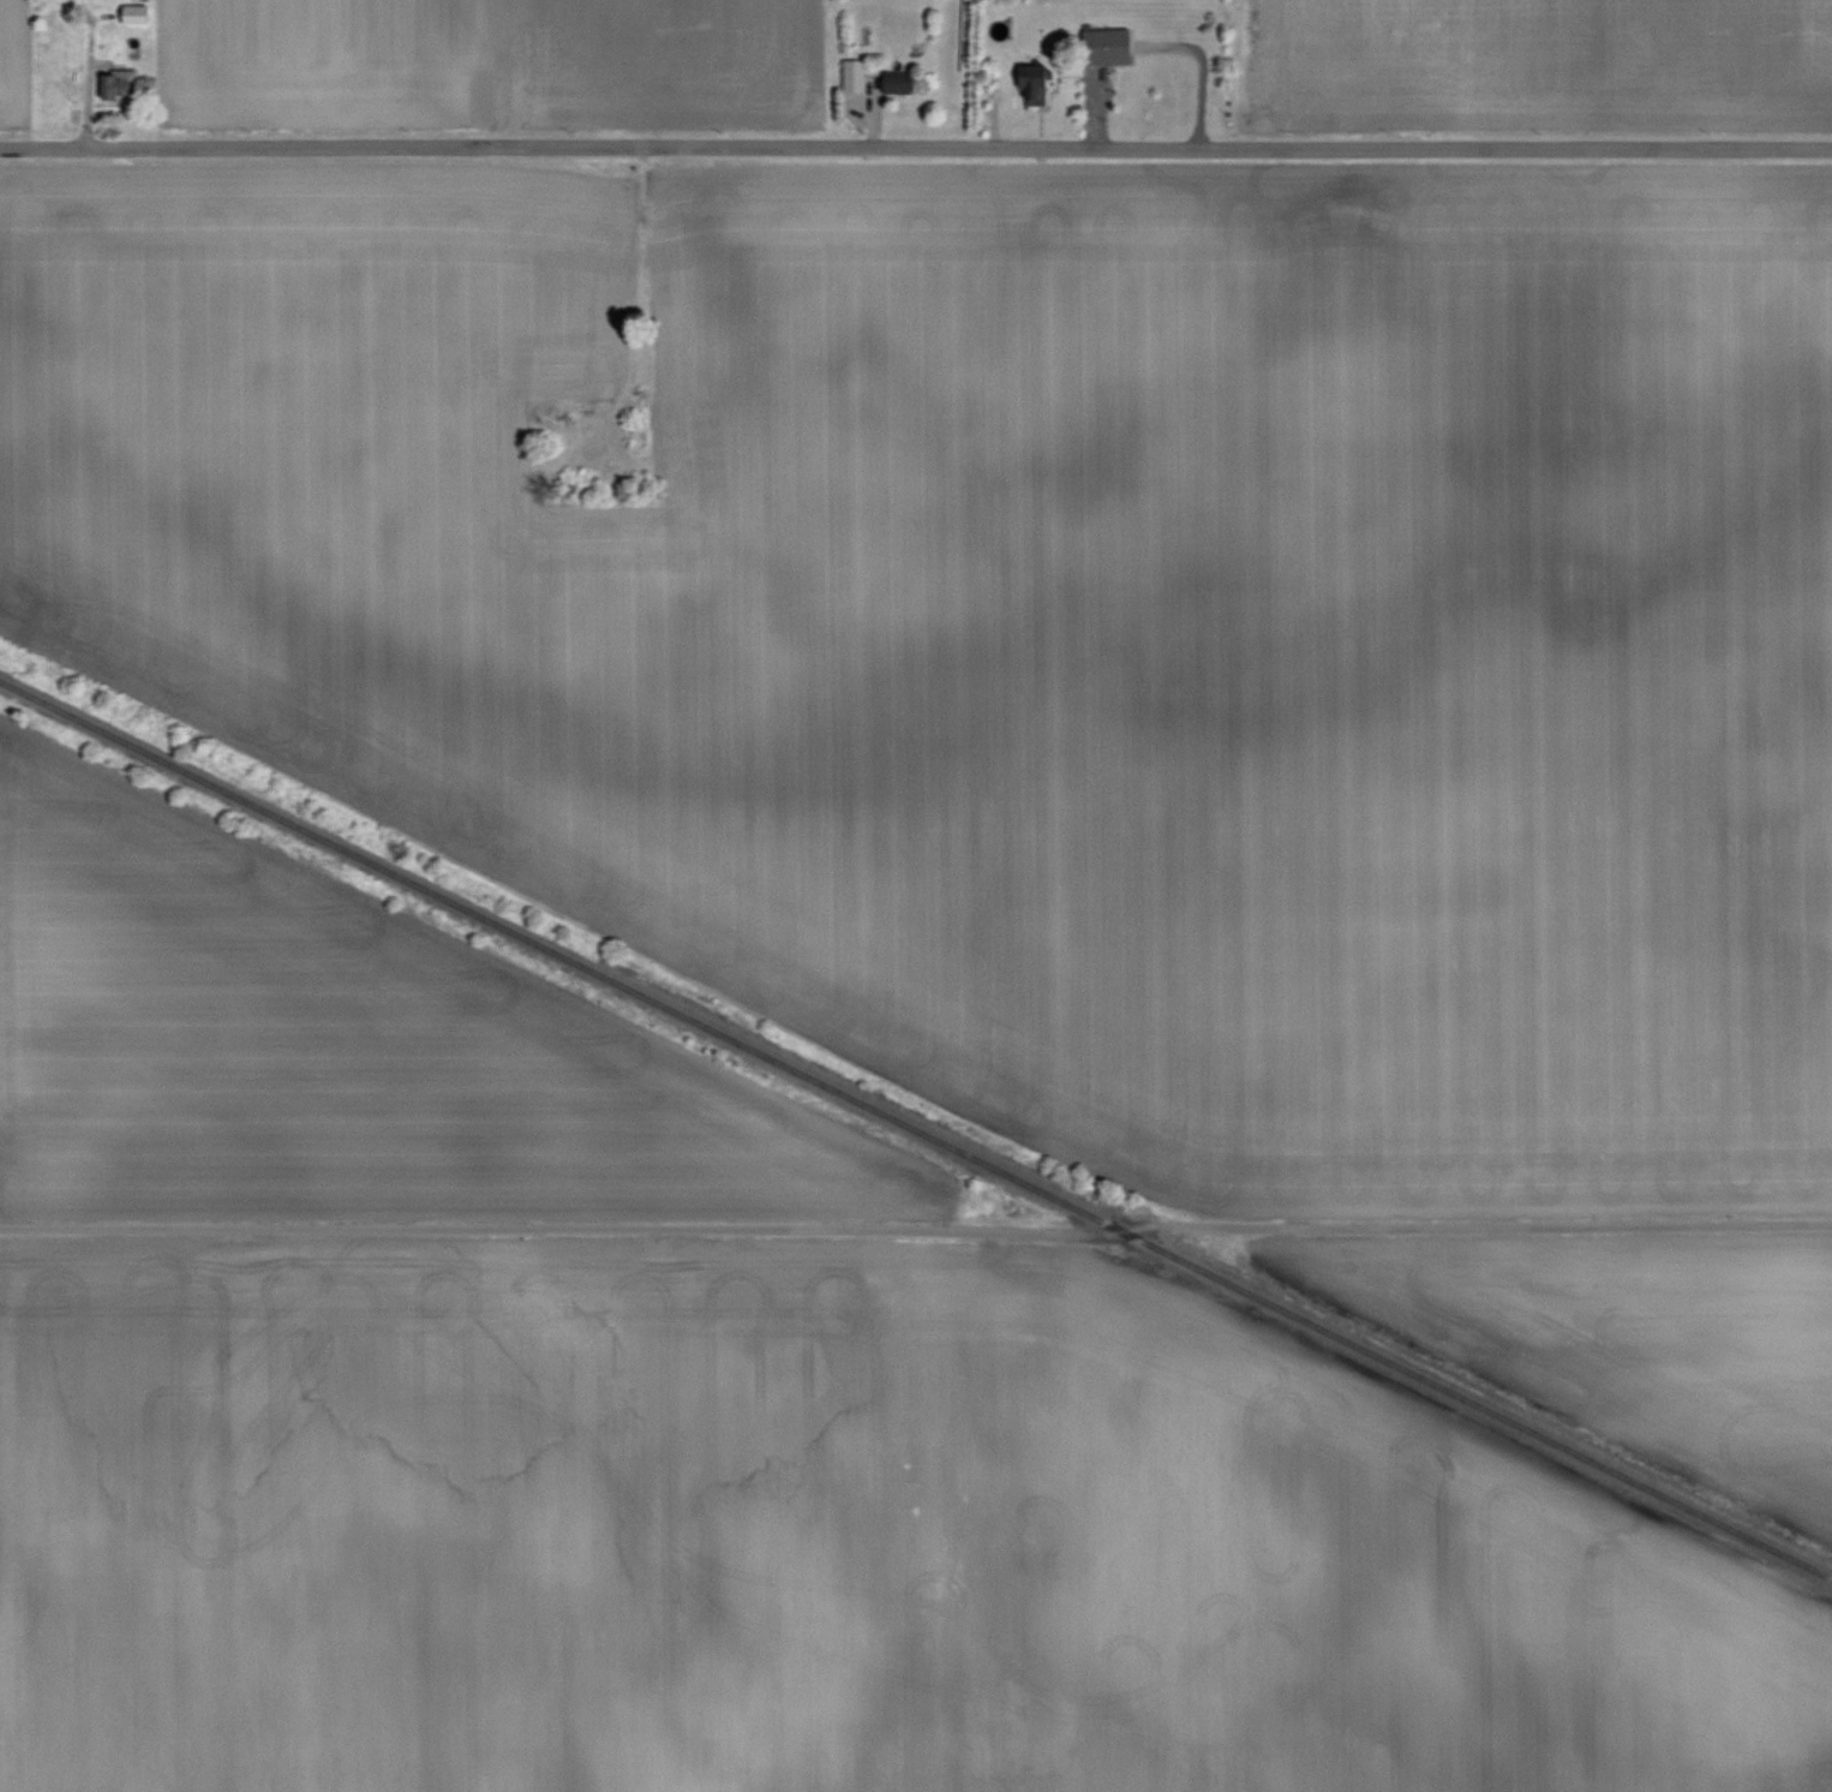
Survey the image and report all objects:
road: (915, 142)
railway: (915, 1129)
road: (916, 1229)

